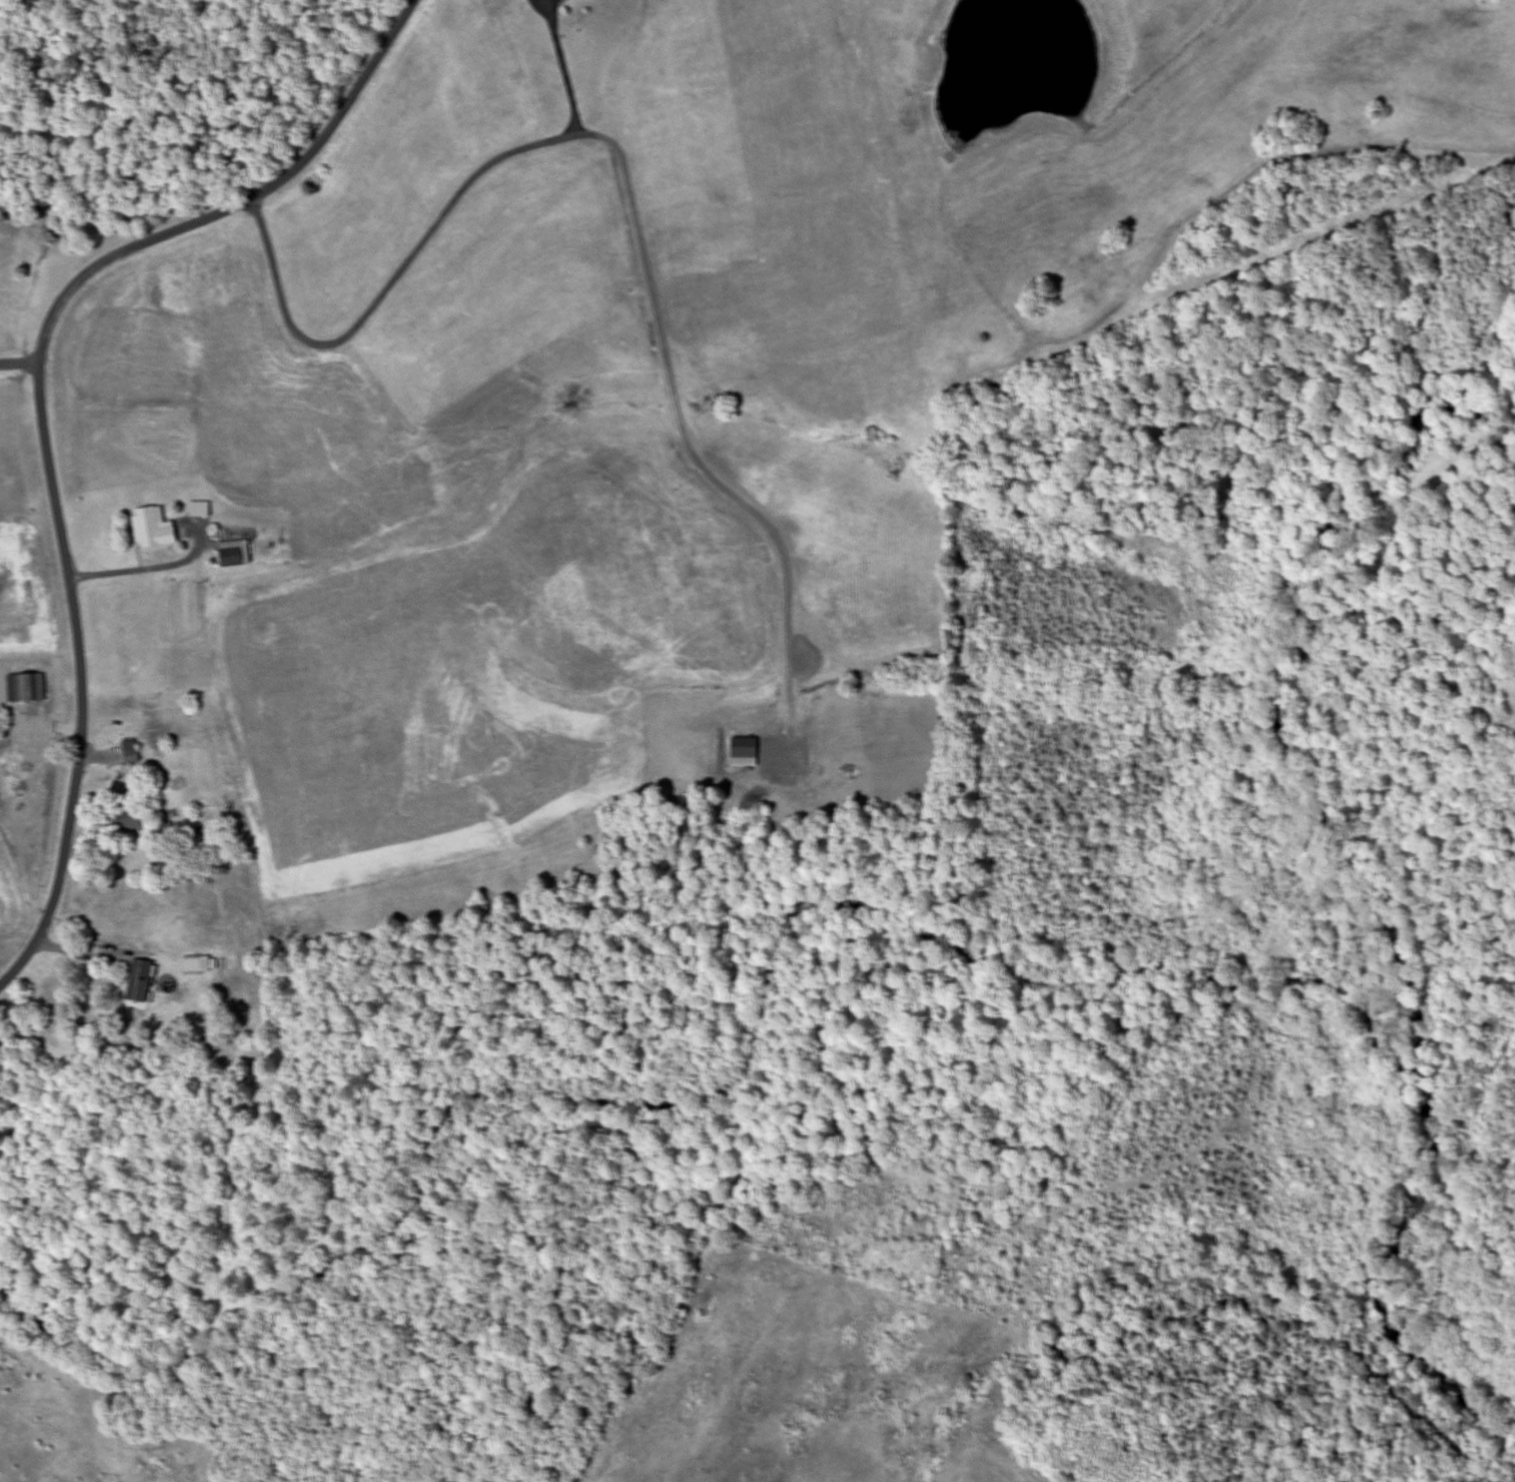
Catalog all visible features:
building: (564, 0)
road: (560, 67)
road: (402, 266)
road: (20, 365)
road: (42, 412)
road: (678, 417)
building: (154, 528)
building: (235, 553)
building: (25, 688)
building: (130, 752)
building: (143, 980)

